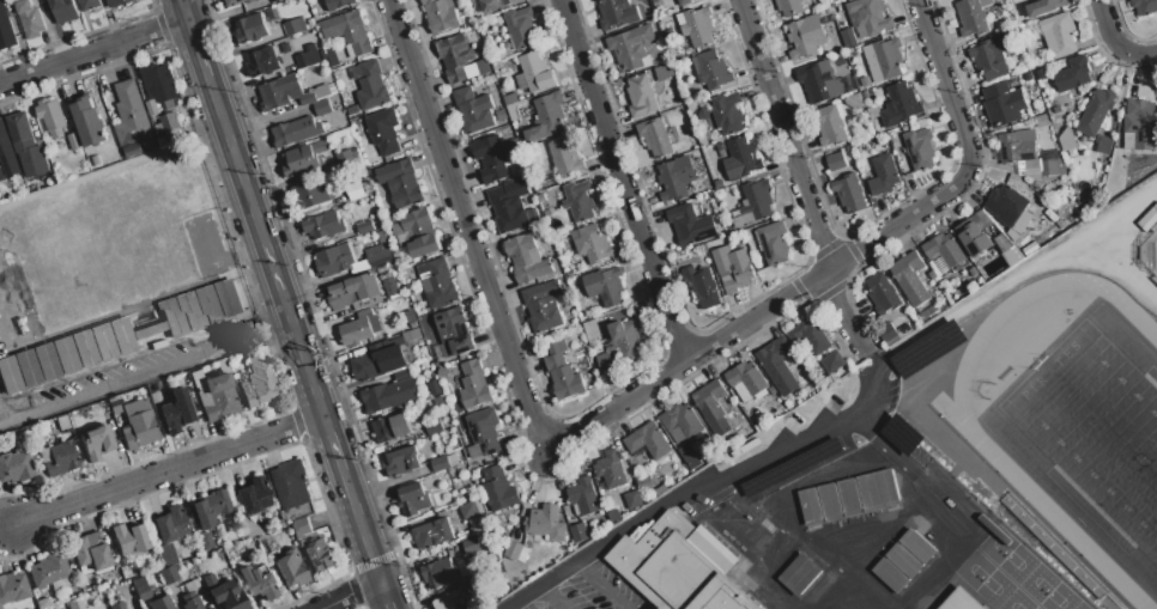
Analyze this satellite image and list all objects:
building: (34, 0)
building: (280, 0)
building: (652, 0)
building: (117, 2)
building: (238, 2)
building: (684, 2)
building: (338, 4)
building: (89, 5)
building: (497, 5)
building: (1144, 6)
building: (789, 7)
building: (1044, 7)
building: (63, 11)
road: (183, 11)
building: (617, 13)
building: (441, 16)
building: (868, 17)
building: (973, 17)
building: (30, 19)
building: (664, 19)
building: (696, 26)
building: (295, 28)
building: (252, 29)
building: (521, 29)
building: (6, 30)
building: (349, 32)
building: (1061, 35)
building: (806, 37)
road: (1115, 44)
building: (631, 48)
road: (198, 50)
road: (93, 54)
building: (308, 57)
building: (332, 57)
building: (455, 57)
building: (991, 57)
building: (889, 59)
building: (262, 63)
building: (483, 68)
building: (713, 72)
building: (662, 73)
building: (534, 74)
building: (1041, 75)
building: (1073, 75)
building: (1029, 77)
building: (159, 83)
building: (819, 83)
building: (865, 83)
road: (944, 86)
building: (371, 87)
building: (289, 93)
building: (641, 97)
building: (510, 99)
building: (677, 101)
building: (853, 103)
building: (1002, 104)
building: (899, 106)
building: (321, 108)
building: (152, 109)
building: (473, 111)
building: (1060, 111)
building: (727, 114)
building: (1095, 114)
building: (704, 115)
building: (131, 116)
building: (501, 116)
building: (52, 117)
building: (546, 118)
building: (1041, 122)
building: (89, 123)
building: (170, 123)
building: (1139, 126)
building: (830, 127)
building: (296, 132)
building: (22, 133)
building: (384, 133)
building: (655, 138)
building: (703, 139)
building: (1066, 140)
building: (166, 141)
building: (74, 142)
building: (1104, 146)
building: (513, 150)
building: (920, 150)
building: (1020, 151)
building: (7, 154)
building: (304, 159)
building: (490, 159)
building: (565, 159)
building: (741, 160)
building: (96, 162)
building: (836, 163)
building: (42, 164)
building: (1052, 168)
building: (883, 176)
building: (1, 177)
building: (676, 179)
road: (619, 181)
road: (799, 181)
building: (401, 184)
building: (4, 188)
building: (359, 190)
building: (849, 194)
building: (311, 195)
building: (578, 201)
building: (755, 205)
building: (1006, 206)
building: (509, 207)
building: (684, 225)
building: (325, 226)
road: (466, 227)
building: (365, 229)
building: (417, 235)
building: (975, 235)
building: (774, 244)
building: (593, 245)
road: (266, 248)
building: (1008, 250)
building: (380, 252)
park: (1149, 252)
building: (943, 254)
building: (527, 260)
building: (334, 262)
building: (733, 269)
building: (910, 280)
building: (437, 285)
building: (605, 287)
building: (702, 287)
building: (353, 292)
building: (883, 294)
building: (544, 306)
road: (758, 313)
building: (359, 329)
building: (592, 330)
building: (886, 333)
building: (454, 334)
building: (416, 335)
building: (810, 337)
building: (626, 340)
building: (927, 348)
building: (775, 360)
building: (378, 363)
building: (607, 364)
building: (834, 364)
building: (28, 369)
road: (145, 372)
building: (443, 373)
building: (562, 373)
building: (258, 379)
building: (746, 379)
building: (474, 386)
building: (435, 389)
building: (390, 392)
building: (216, 397)
building: (114, 403)
building: (713, 408)
building: (175, 412)
building: (61, 422)
building: (680, 424)
building: (138, 425)
building: (392, 428)
building: (434, 428)
park: (1095, 430)
building: (747, 432)
building: (483, 434)
building: (901, 434)
building: (96, 441)
building: (648, 443)
road: (333, 445)
building: (57, 457)
building: (689, 458)
building: (402, 463)
building: (440, 464)
building: (14, 467)
building: (790, 468)
building: (610, 470)
road: (163, 471)
building: (643, 483)
road: (702, 483)
building: (290, 486)
building: (660, 489)
building: (499, 491)
building: (253, 495)
building: (584, 498)
building: (848, 498)
building: (413, 500)
building: (632, 500)
building: (210, 507)
building: (468, 511)
track: (1056, 522)
building: (277, 523)
building: (170, 524)
building: (546, 524)
road: (361, 526)
building: (246, 528)
building: (301, 529)
building: (578, 534)
building: (434, 535)
building: (128, 538)
building: (205, 541)
building: (472, 547)
building: (89, 550)
building: (513, 552)
building: (166, 554)
building: (320, 556)
building: (904, 561)
building: (120, 562)
building: (680, 566)
building: (290, 568)
building: (47, 570)
building: (440, 573)
building: (168, 574)
building: (799, 575)
building: (258, 581)
road: (599, 585)
building: (12, 587)
building: (140, 589)
parking lot: (590, 591)
building: (224, 592)
building: (190, 595)
road: (351, 596)
road: (384, 596)
road: (551, 597)
building: (447, 601)
building: (961, 601)
building: (42, 602)
building: (74, 603)
building: (160, 603)
building: (116, 605)
building: (0, 607)
building: (208, 608)
building: (458, 608)
building: (544, 608)

